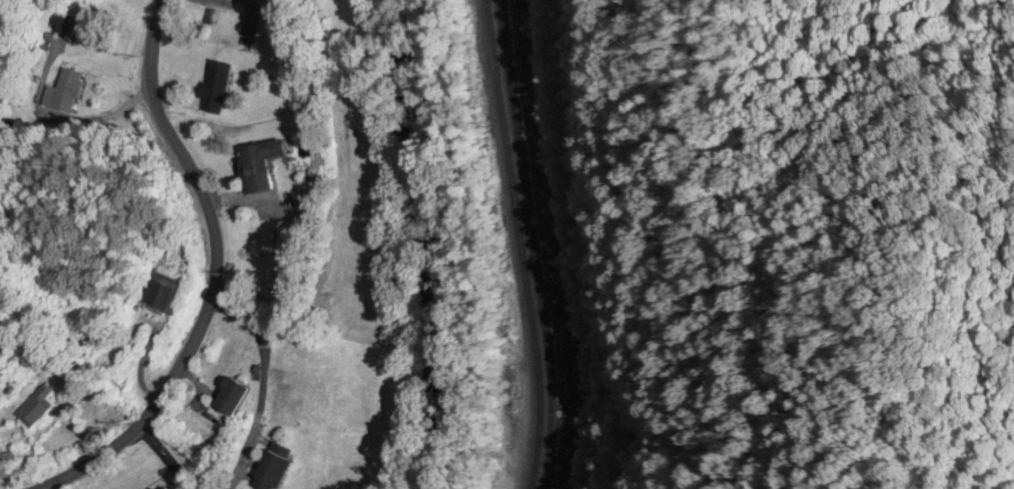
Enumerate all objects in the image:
building: (77, 31)
building: (215, 88)
building: (63, 94)
building: (259, 166)
railway: (519, 245)
road: (214, 272)
building: (162, 294)
road: (262, 386)
building: (231, 398)
building: (37, 409)
road: (164, 457)
building: (276, 469)
building: (166, 488)

